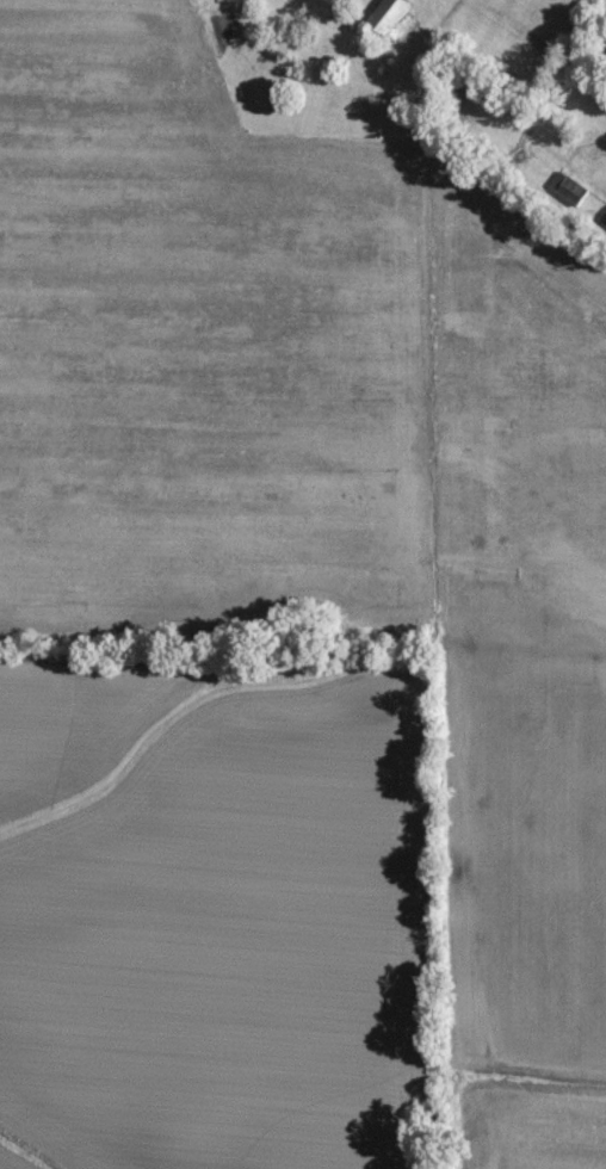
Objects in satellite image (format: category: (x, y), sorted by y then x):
building: (395, 14)
building: (573, 187)

